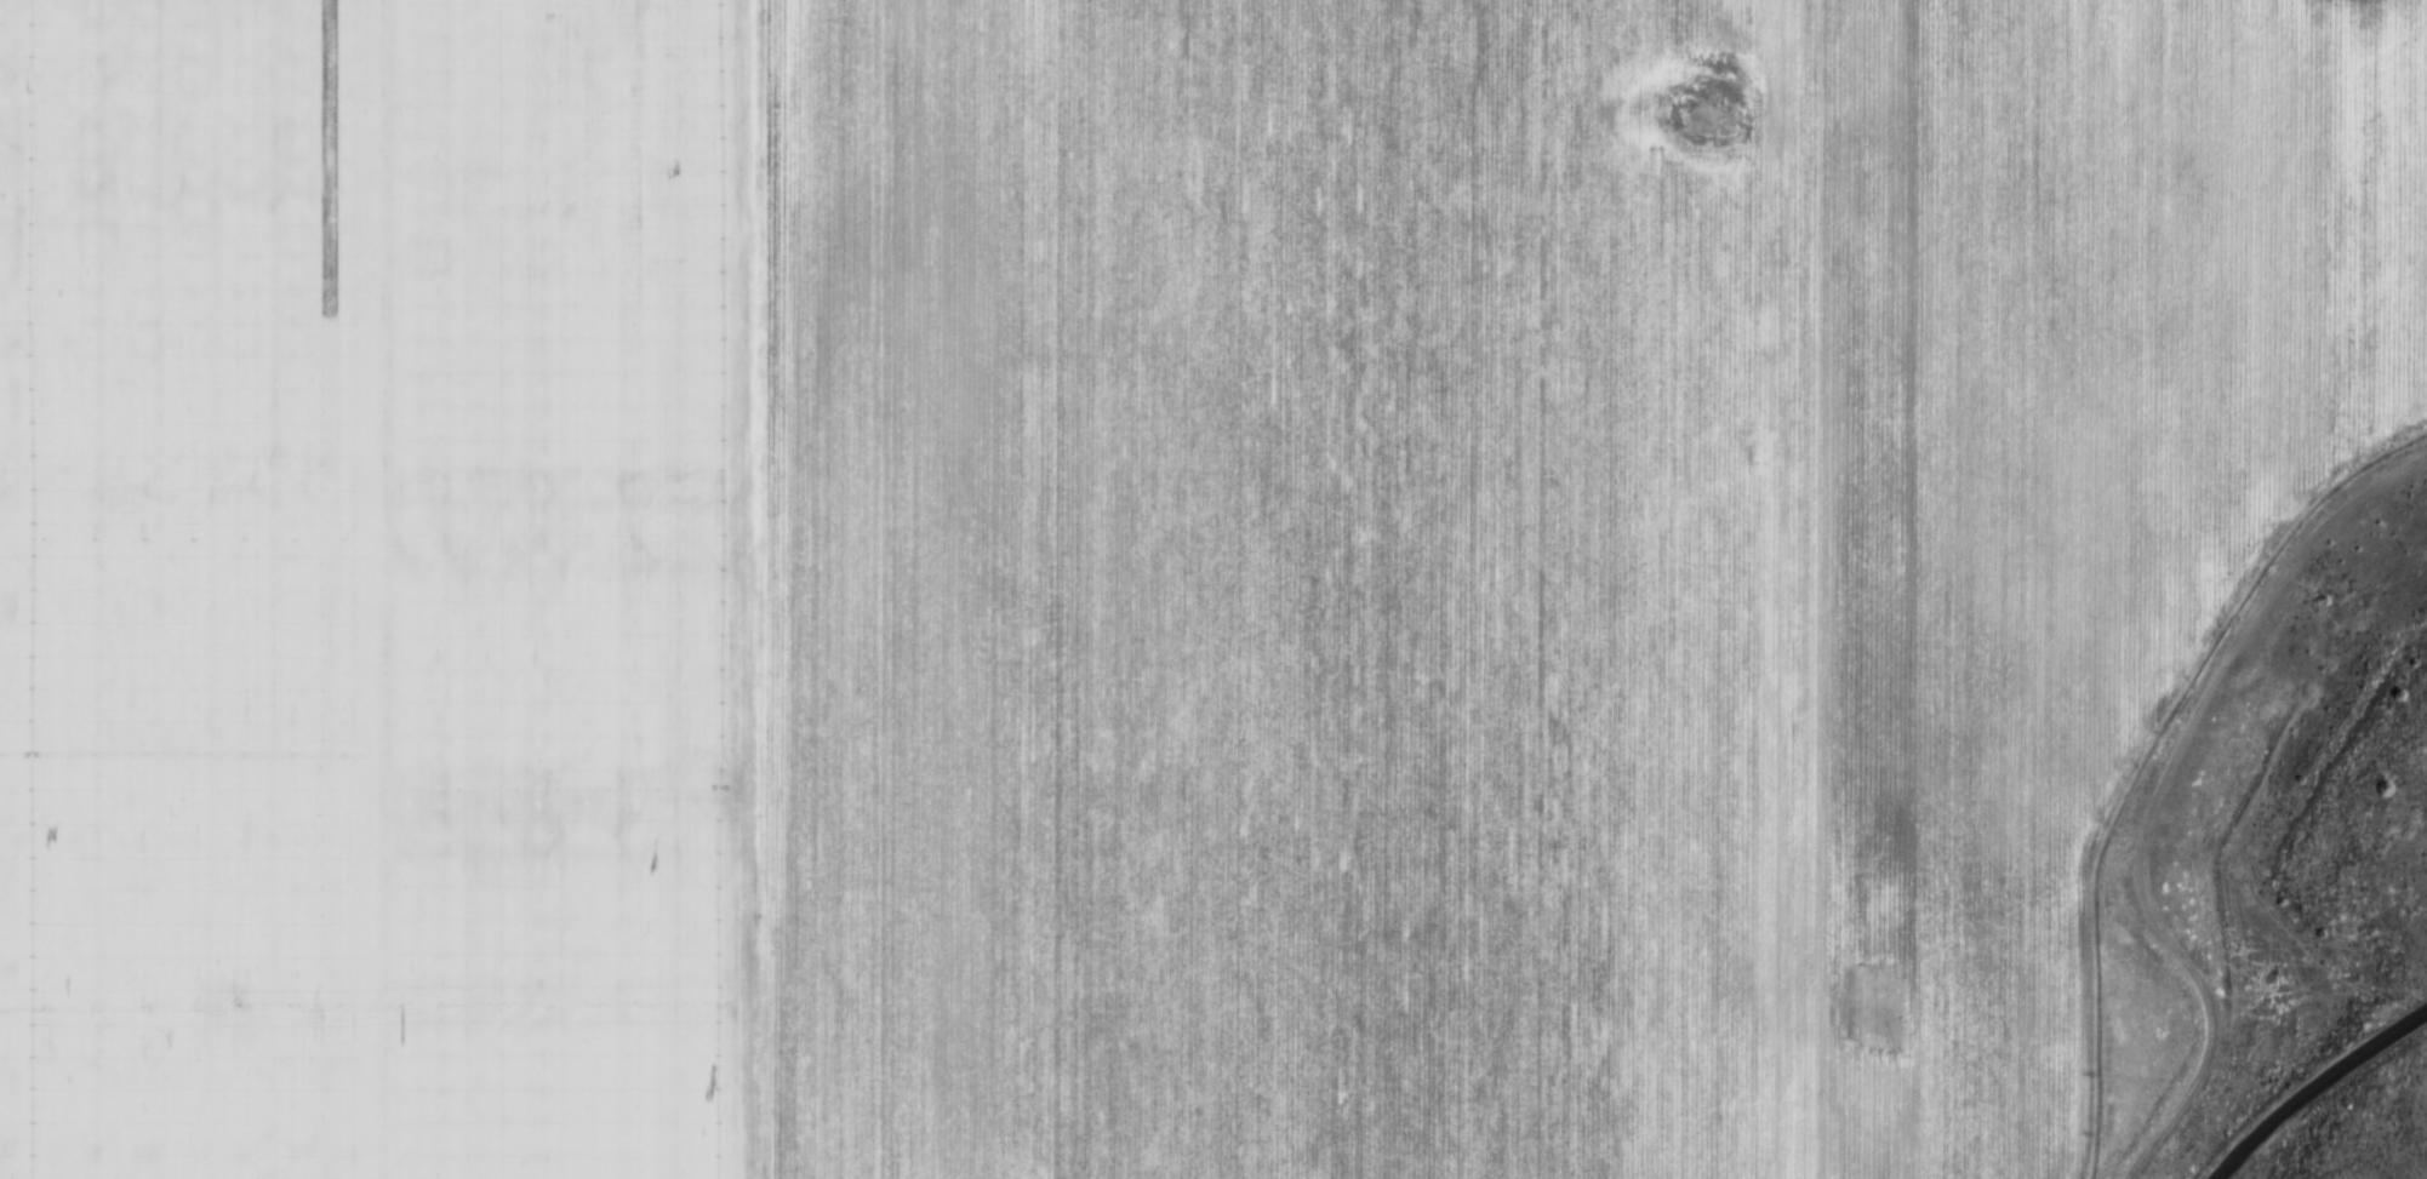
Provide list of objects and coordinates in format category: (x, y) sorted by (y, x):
crop: (1519, 560)
crop: (381, 589)
road: (2318, 1089)

